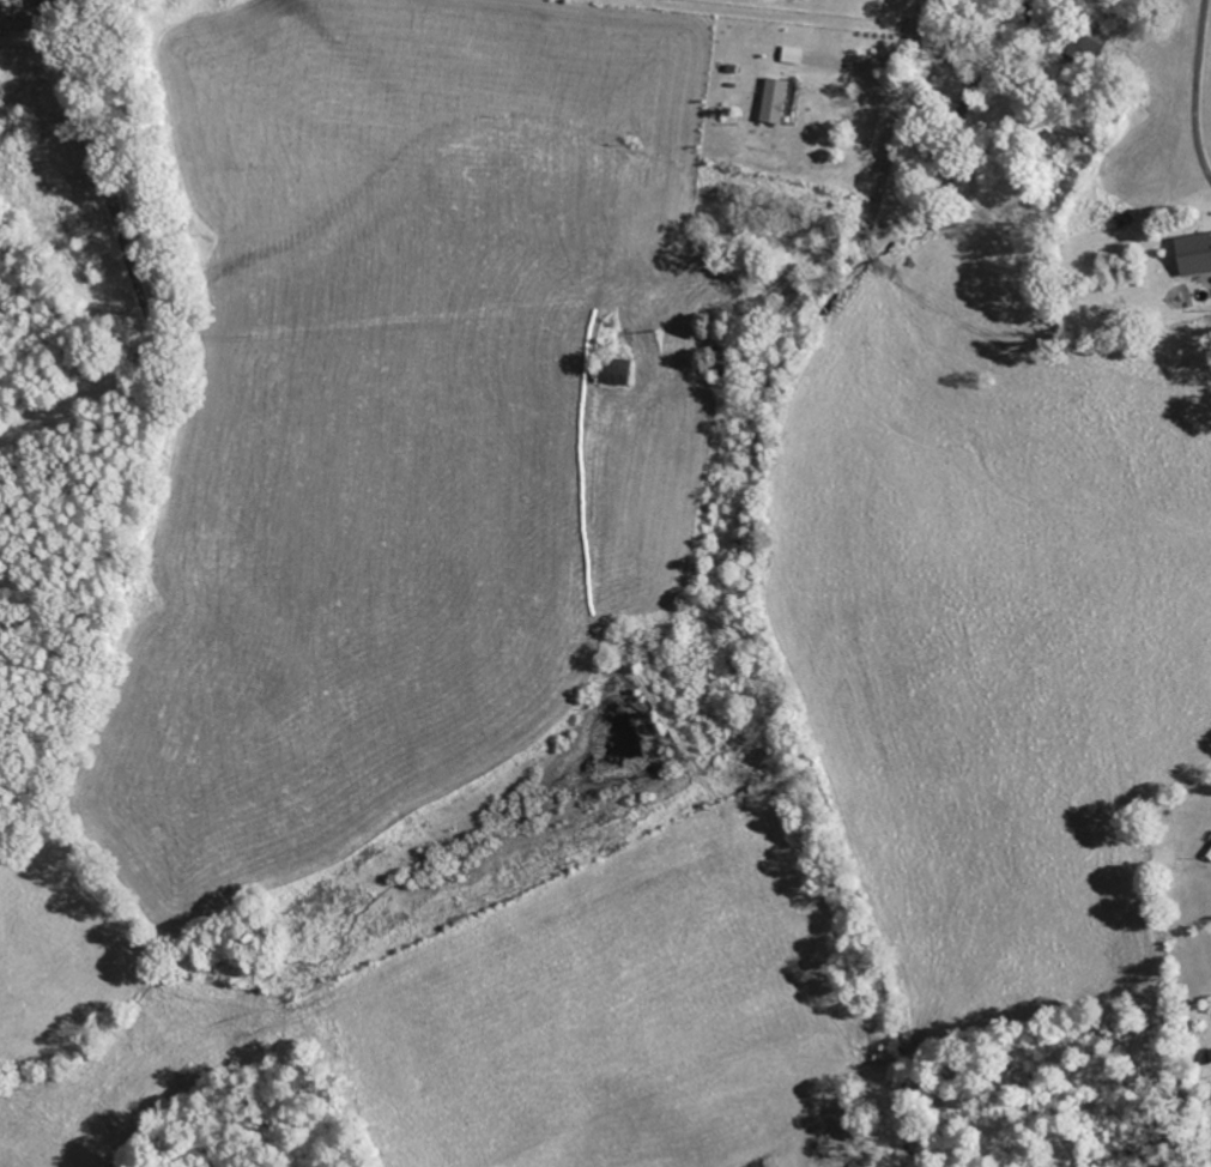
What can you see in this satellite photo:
building: (1088, 46)
building: (793, 55)
building: (775, 101)
road: (835, 220)
building: (1194, 254)
building: (616, 371)

